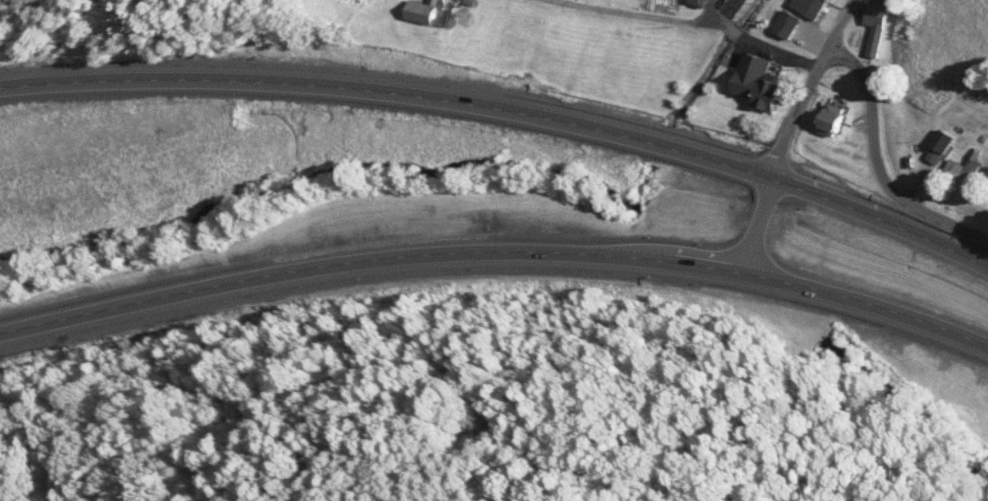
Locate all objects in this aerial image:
building: (695, 1)
building: (727, 5)
building: (423, 9)
building: (875, 23)
building: (766, 84)
road: (505, 109)
building: (831, 109)
road: (788, 131)
building: (937, 144)
road: (876, 168)
road: (496, 246)

